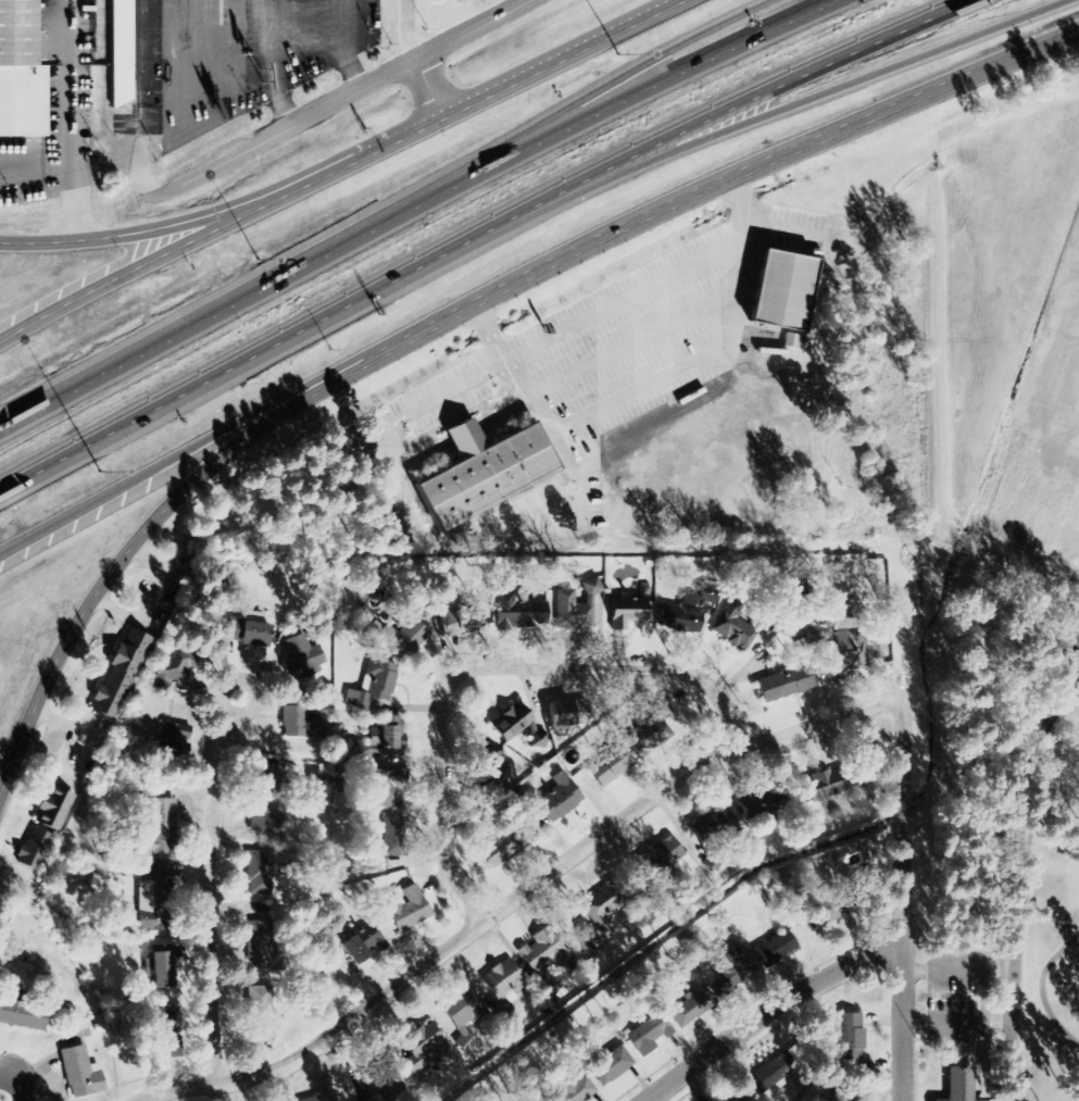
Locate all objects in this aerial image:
road: (475, 30)
road: (1062, 39)
building: (118, 52)
road: (550, 53)
street lamp: (619, 59)
building: (21, 74)
road: (623, 78)
road: (656, 83)
road: (428, 86)
road: (302, 120)
road: (340, 163)
road: (643, 164)
road: (746, 166)
road: (589, 167)
road: (120, 234)
street lamp: (231, 265)
road: (117, 272)
building: (776, 290)
road: (238, 297)
building: (789, 341)
road: (117, 418)
road: (210, 431)
building: (479, 474)
street lamp: (100, 476)
road: (159, 514)
building: (590, 587)
building: (218, 593)
park: (999, 604)
building: (516, 613)
building: (570, 613)
building: (625, 613)
building: (678, 620)
building: (460, 623)
building: (731, 631)
building: (247, 633)
building: (402, 638)
building: (843, 653)
road: (488, 664)
building: (176, 666)
building: (302, 667)
building: (118, 676)
building: (785, 685)
building: (373, 686)
building: (568, 714)
building: (298, 720)
building: (510, 725)
building: (648, 731)
building: (387, 741)
building: (172, 742)
building: (608, 767)
building: (491, 771)
building: (838, 781)
building: (385, 787)
building: (554, 799)
building: (264, 805)
building: (755, 805)
building: (53, 811)
building: (714, 826)
building: (161, 827)
building: (393, 835)
building: (509, 846)
building: (34, 853)
building: (657, 859)
building: (378, 862)
building: (712, 862)
road: (1024, 868)
building: (271, 869)
building: (79, 876)
road: (205, 877)
road: (514, 894)
road: (900, 898)
building: (156, 901)
building: (405, 910)
building: (825, 911)
building: (600, 914)
building: (361, 944)
building: (249, 949)
building: (774, 950)
building: (542, 952)
building: (729, 968)
building: (159, 972)
building: (500, 980)
road: (1042, 988)
building: (690, 1009)
road: (763, 1011)
building: (465, 1015)
building: (22, 1016)
building: (259, 1016)
building: (647, 1036)
building: (850, 1039)
building: (160, 1041)
building: (428, 1041)
building: (610, 1067)
building: (79, 1074)
building: (768, 1076)
road: (17, 1078)
building: (959, 1085)
building: (573, 1089)
building: (390, 1090)
building: (311, 1098)

